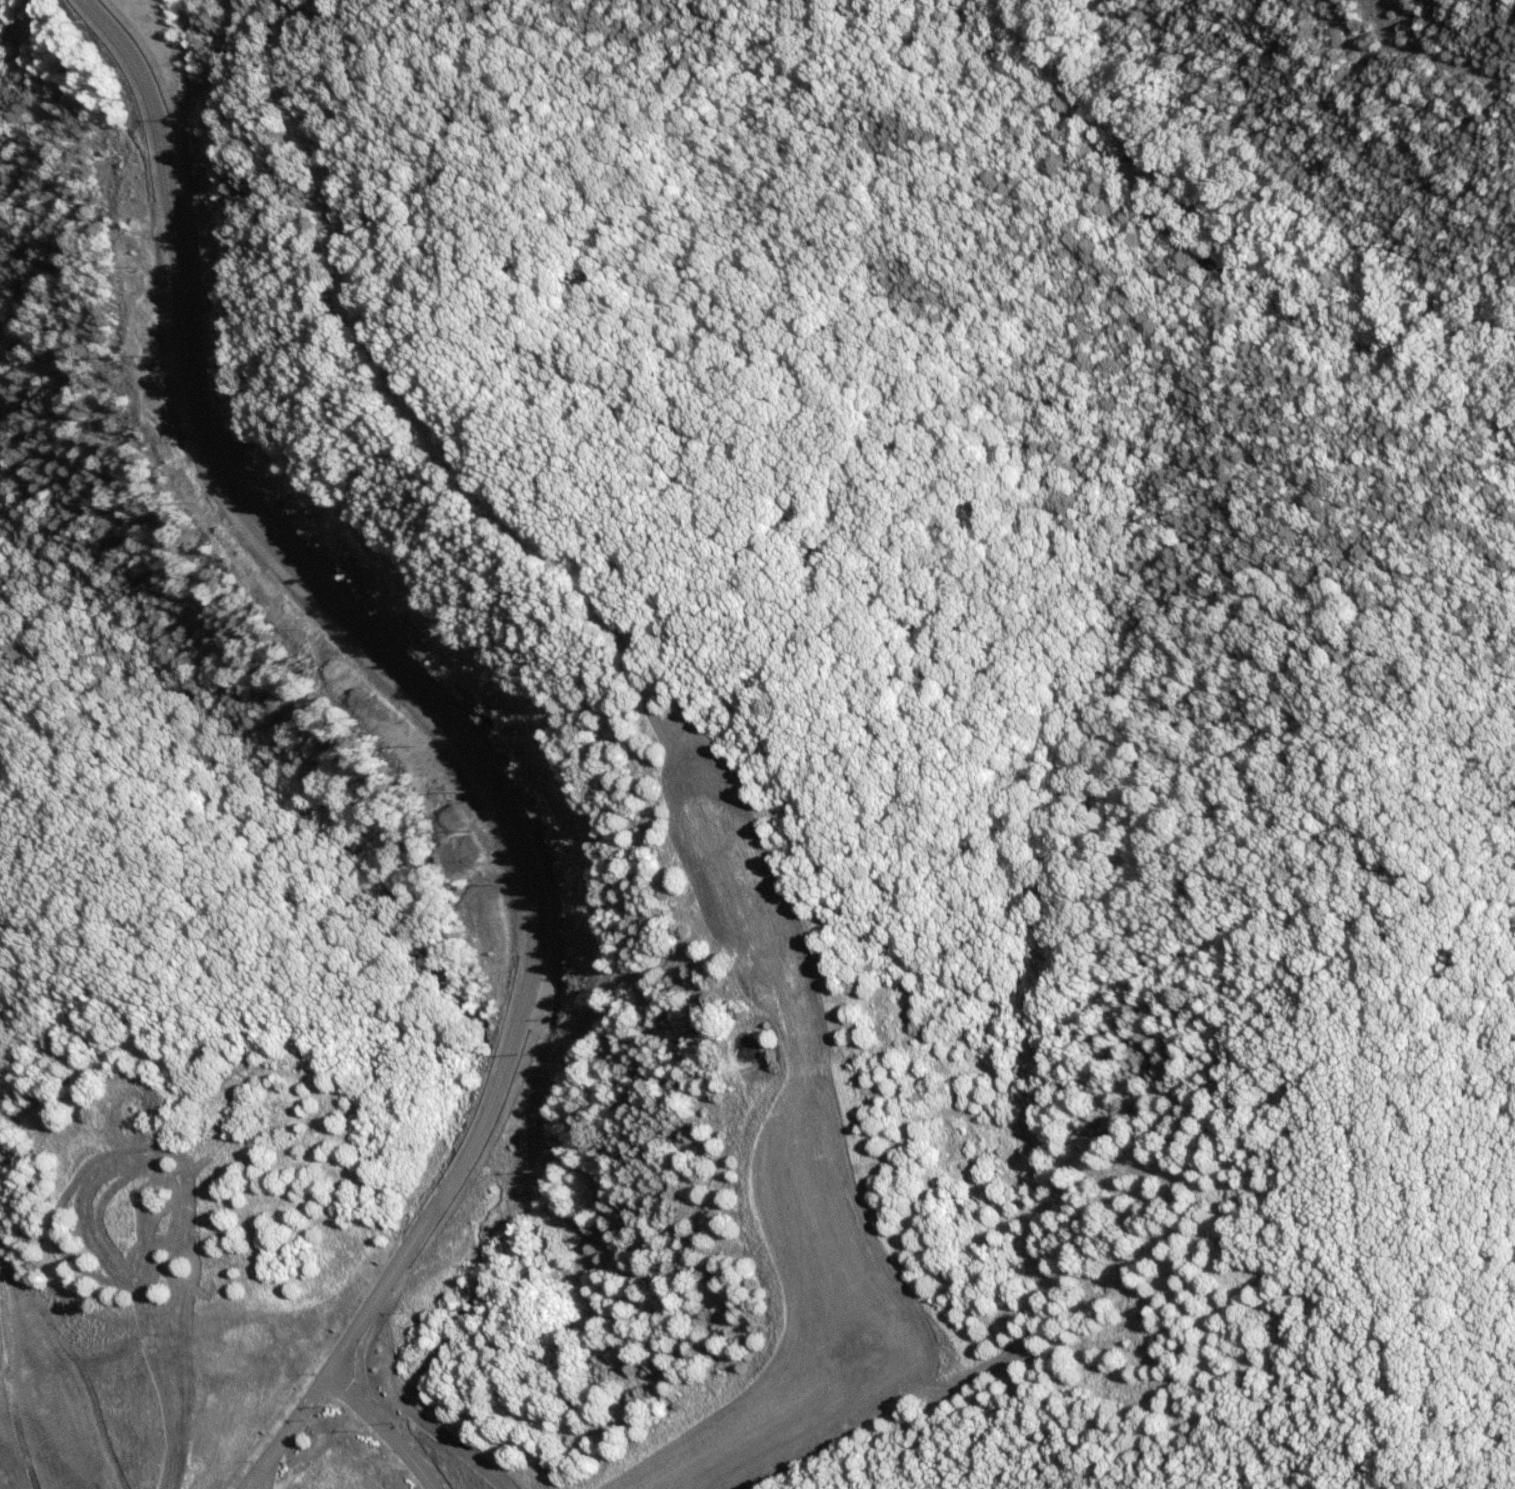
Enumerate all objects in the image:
road: (256, 546)
road: (438, 1215)
airport: (174, 1397)
road: (367, 1427)
road: (271, 1430)
road: (249, 1478)

